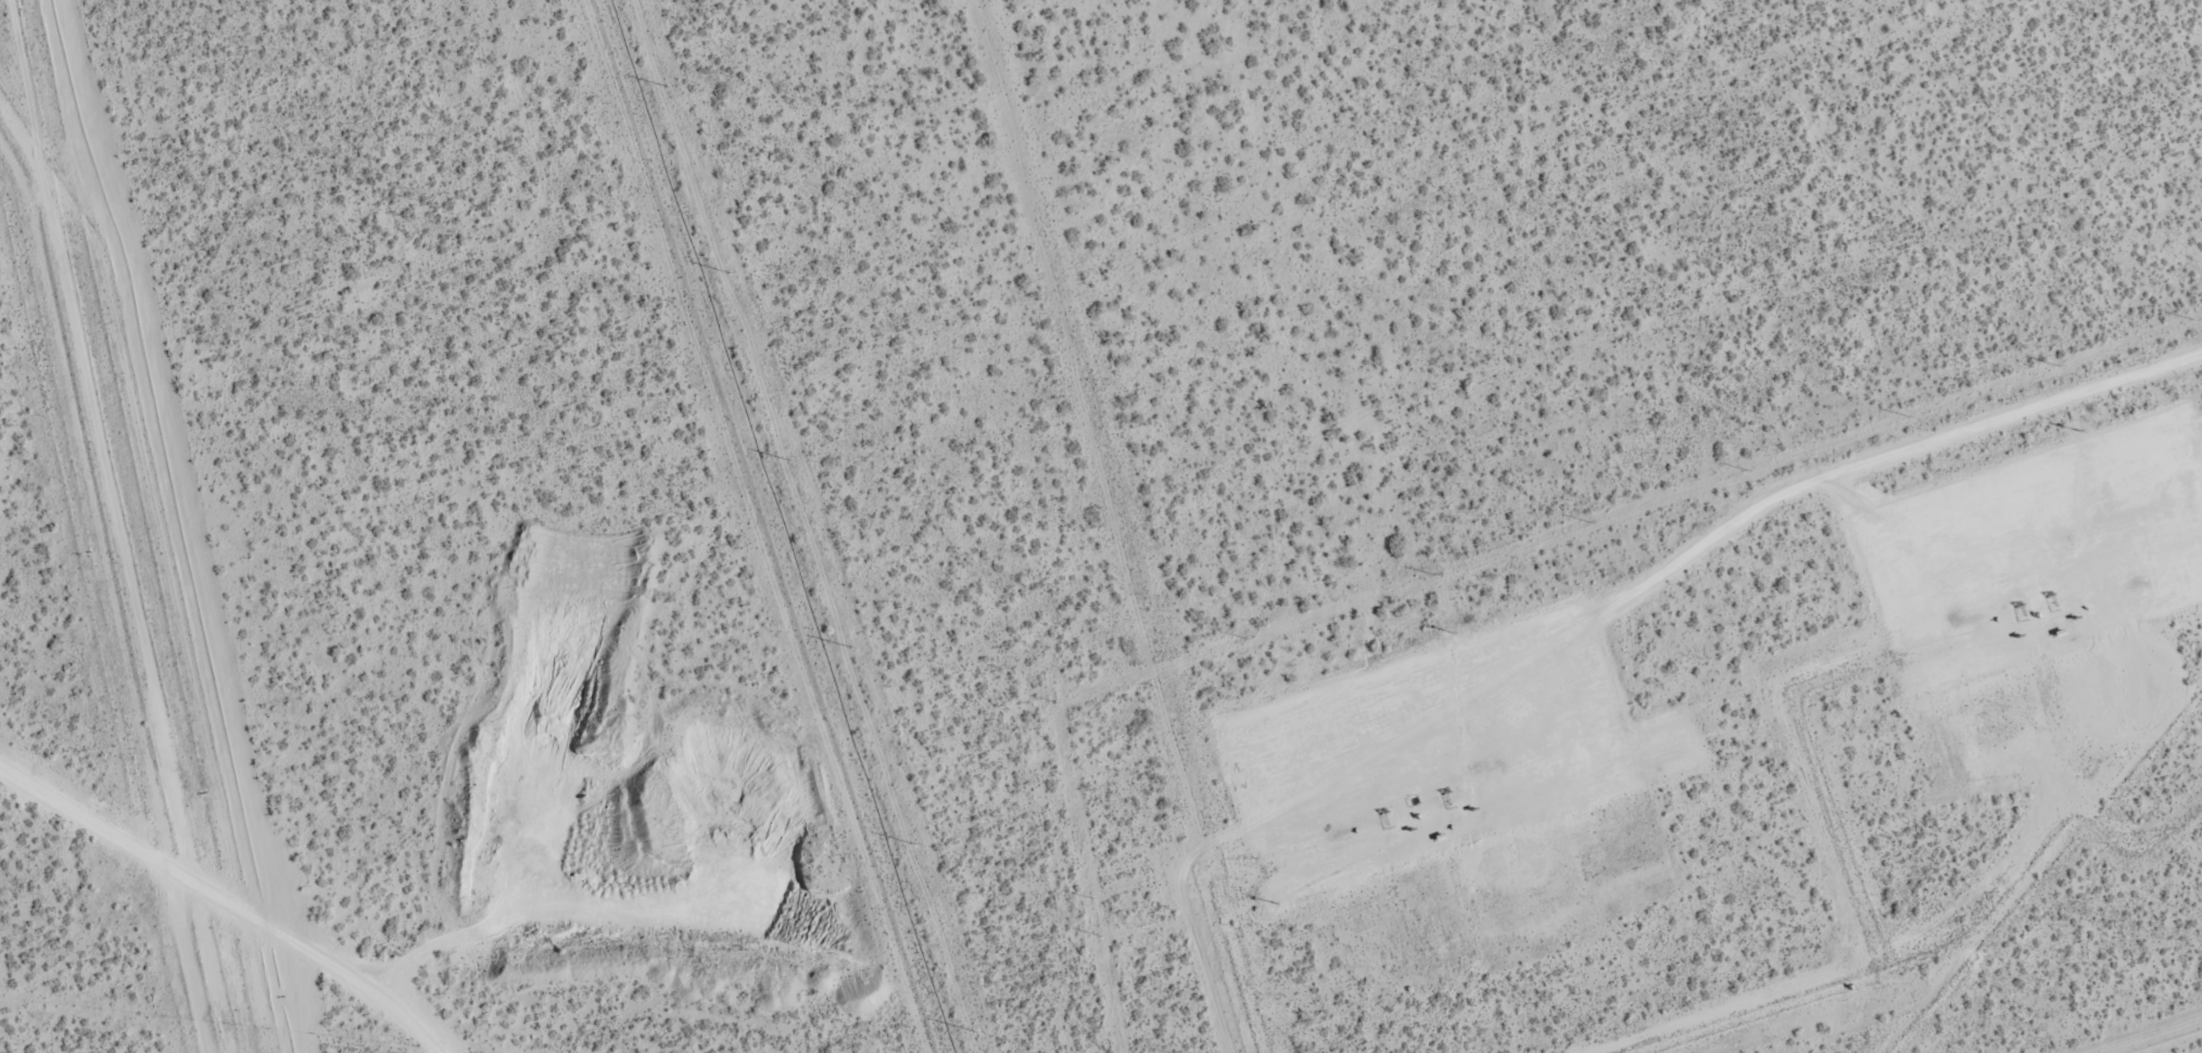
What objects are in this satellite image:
power tower: (667, 86)
power tower: (727, 274)
road: (2201, 432)
road: (117, 455)
road: (1882, 455)
power tower: (788, 460)
power tower: (850, 648)
power tower: (914, 845)
road: (229, 899)
power tower: (975, 1031)

